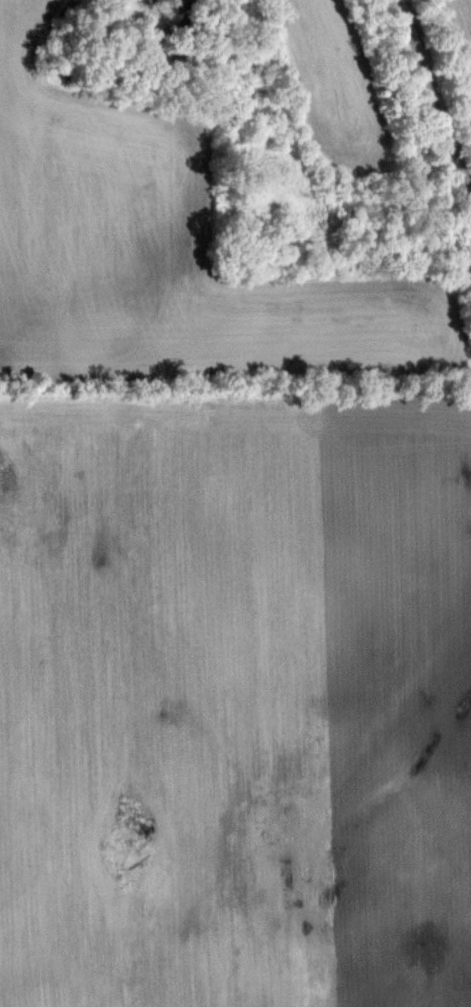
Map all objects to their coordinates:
railway: (446, 74)

